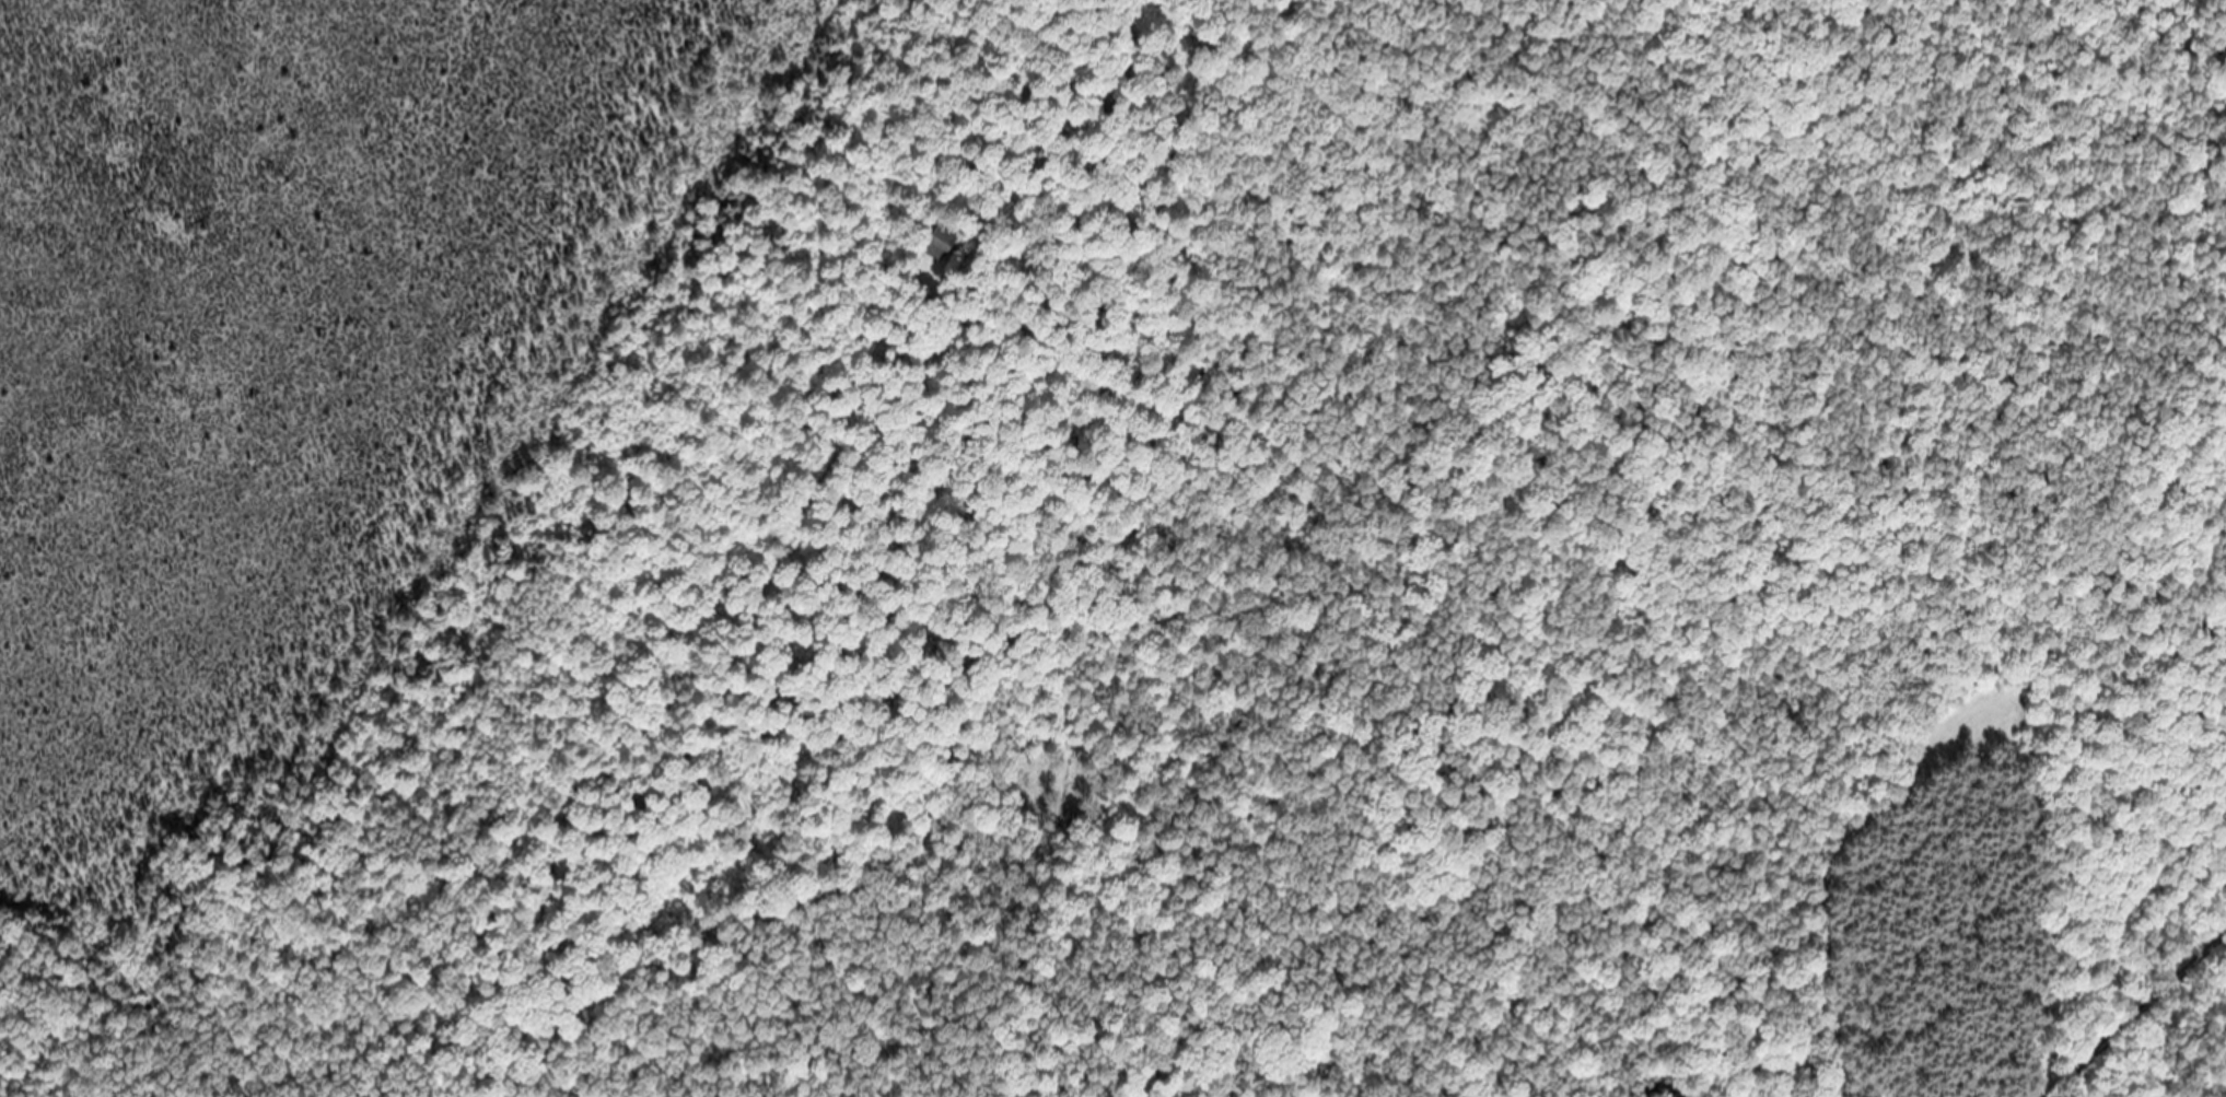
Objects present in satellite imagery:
road: (2137, 1015)

